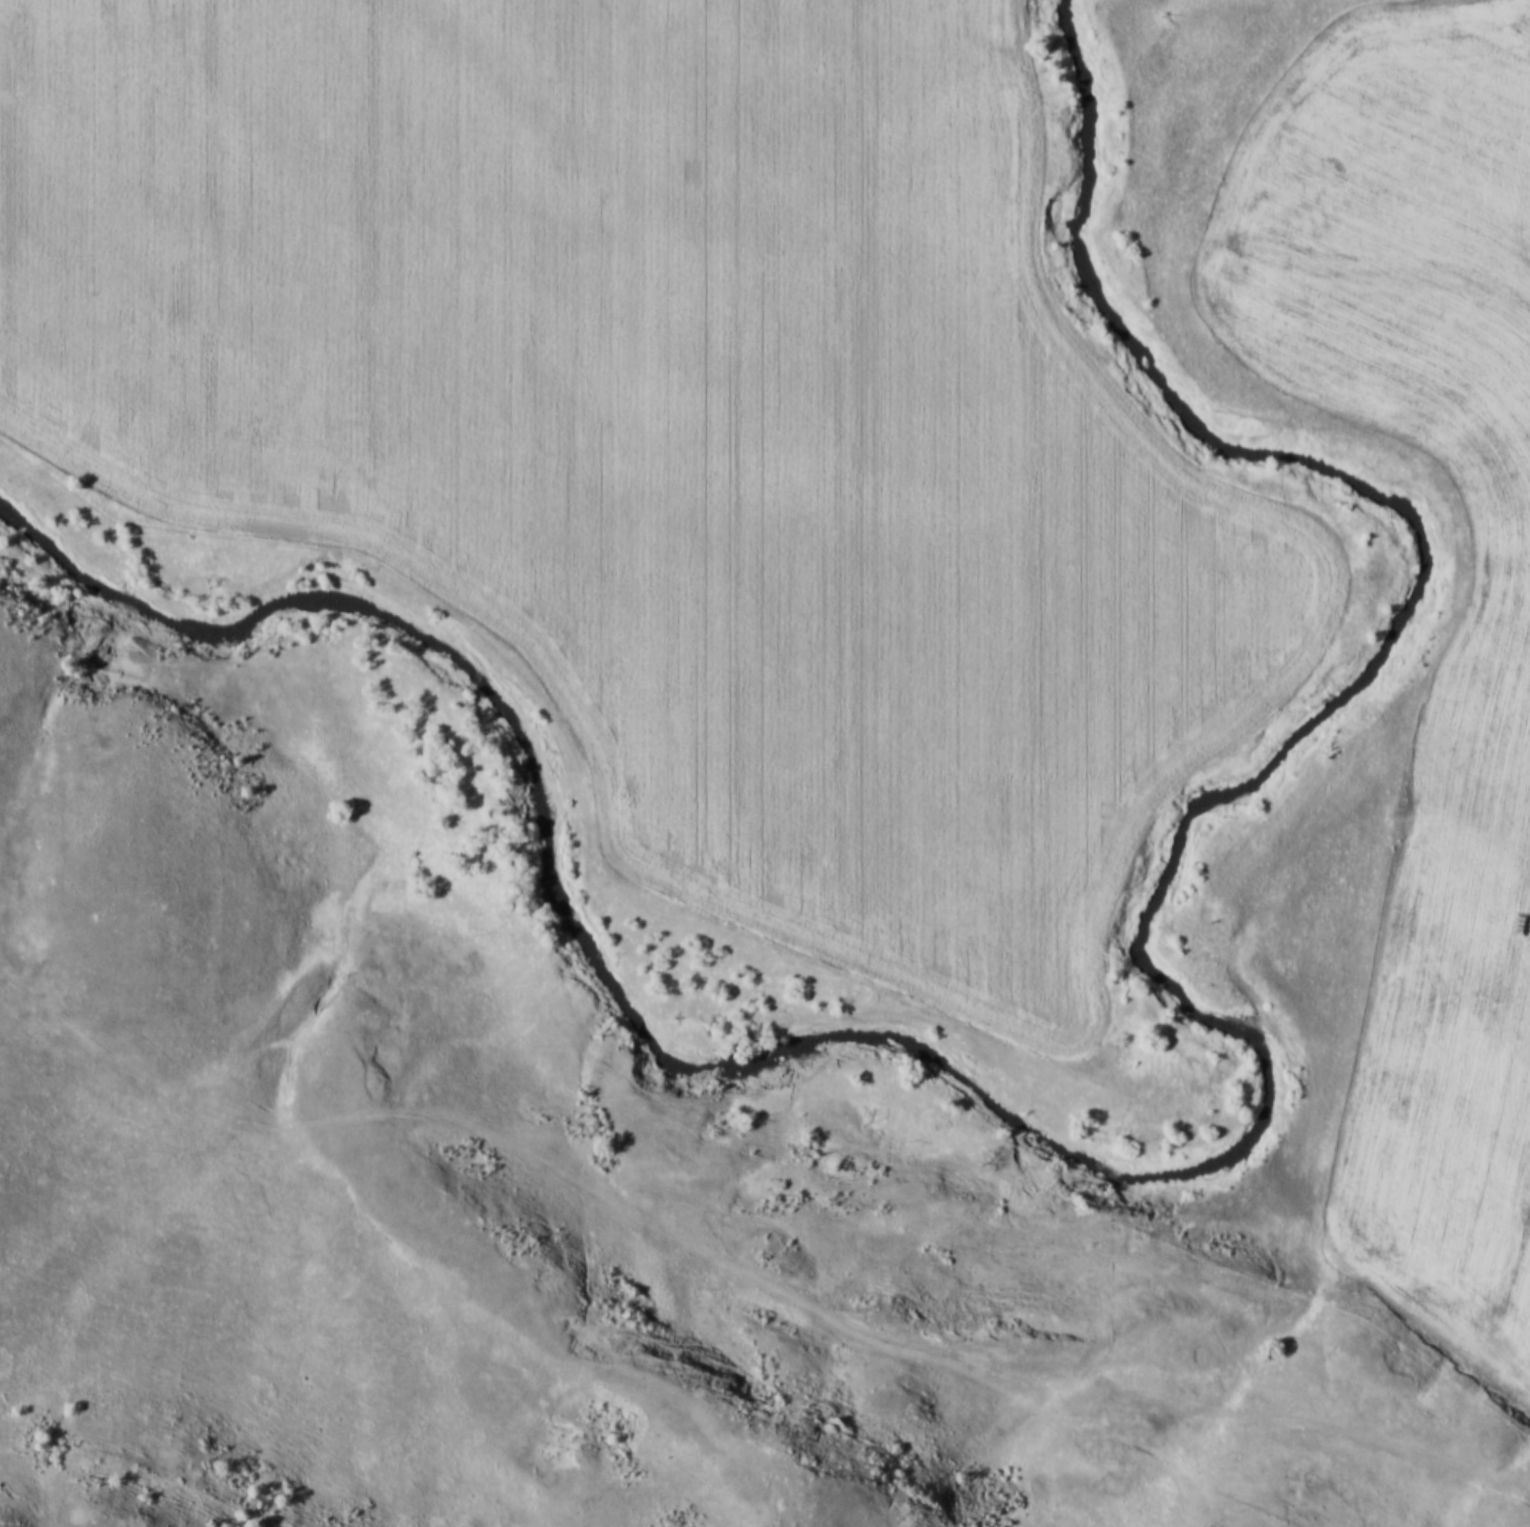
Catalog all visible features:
river: (1161, 1163)

